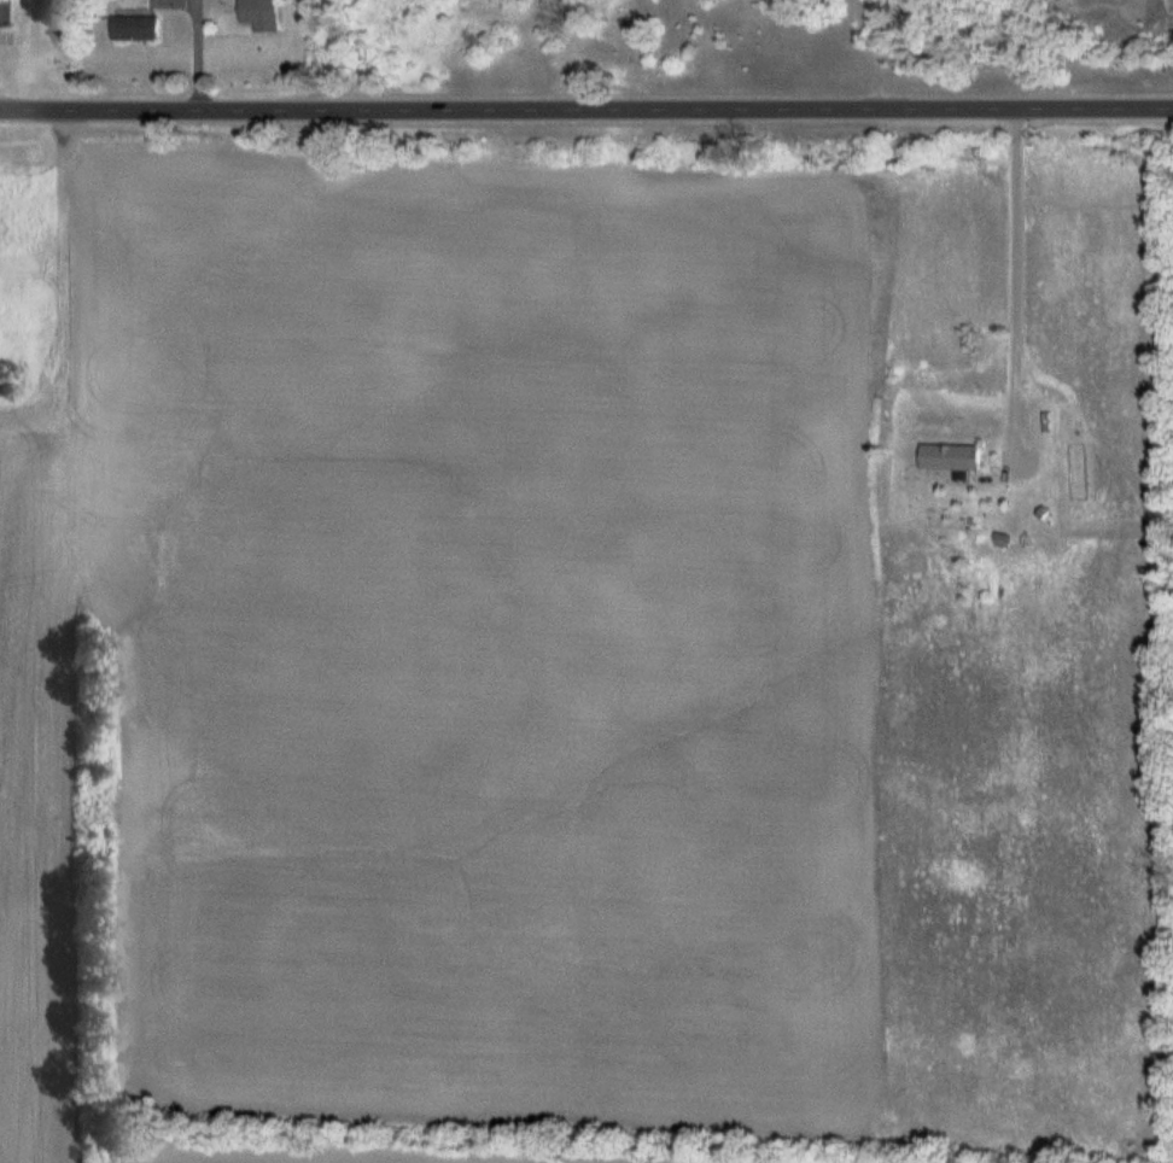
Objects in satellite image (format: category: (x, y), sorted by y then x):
building: (1, 12)
building: (259, 14)
building: (133, 28)
road: (586, 103)
road: (1014, 284)
building: (949, 458)

